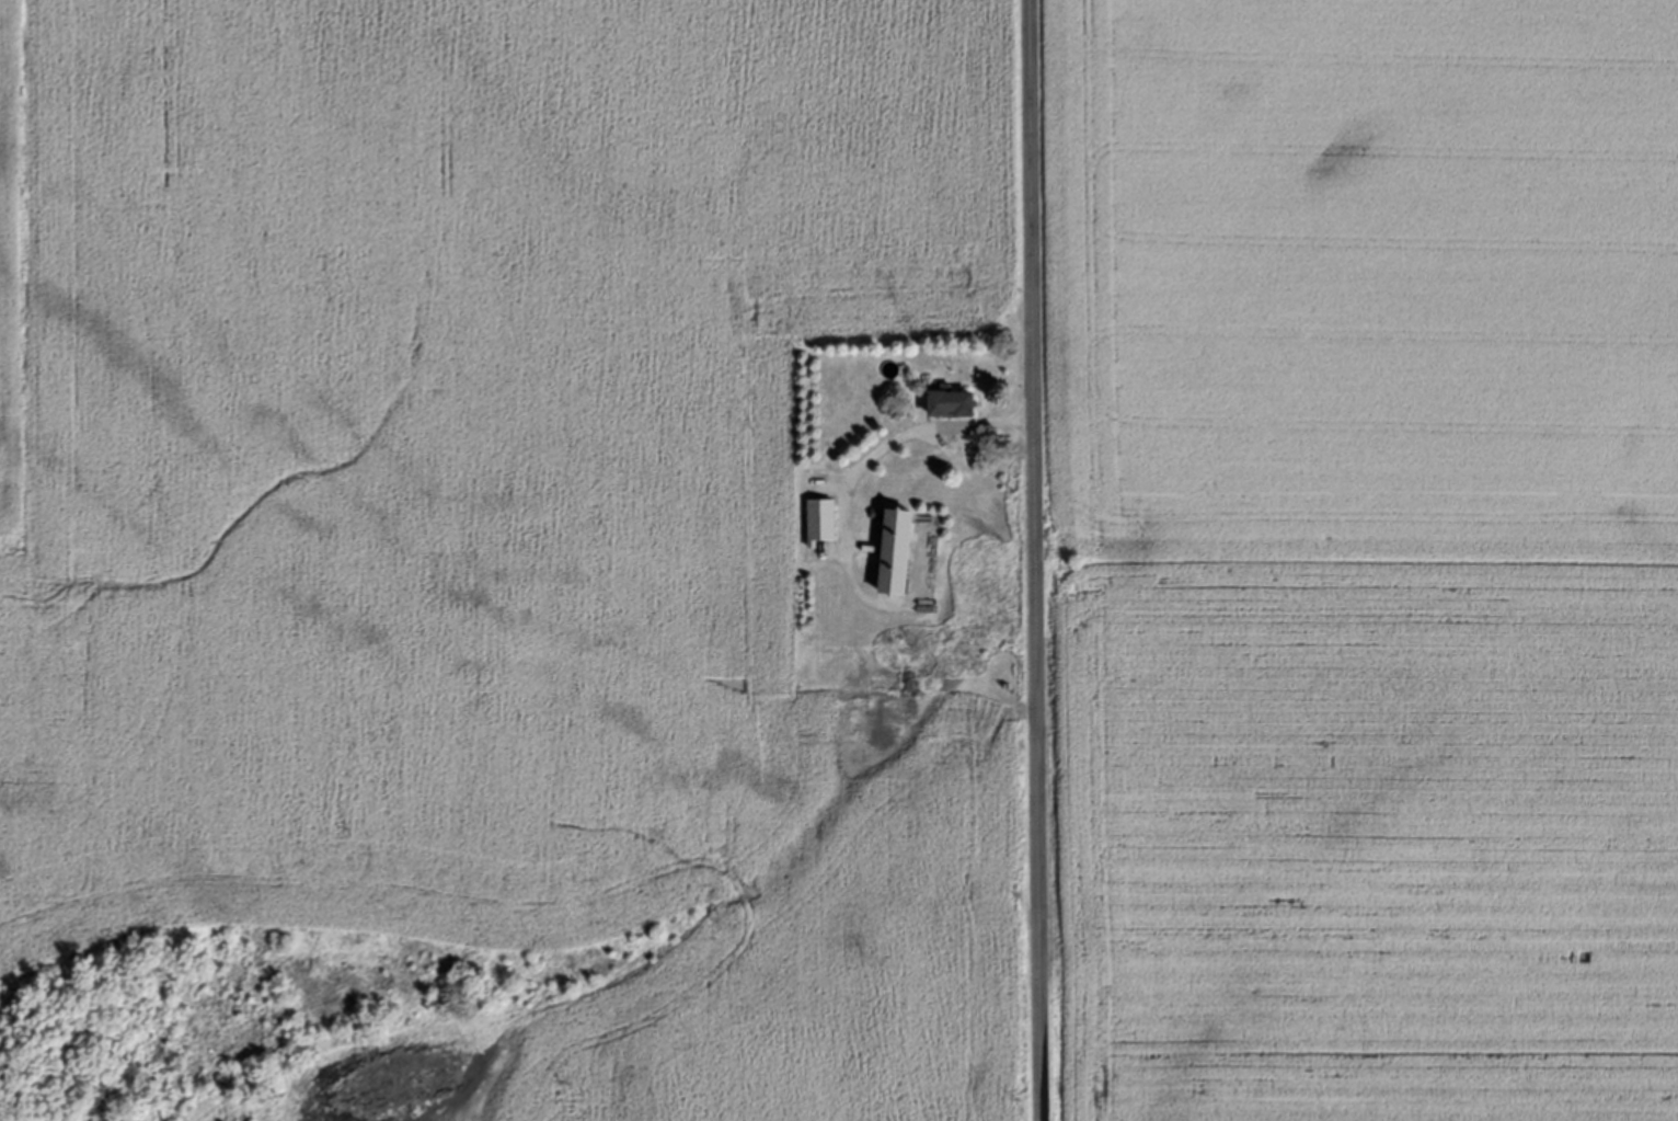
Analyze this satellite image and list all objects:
building: (958, 404)
road: (865, 462)
building: (824, 523)
building: (903, 550)
road: (1034, 560)

